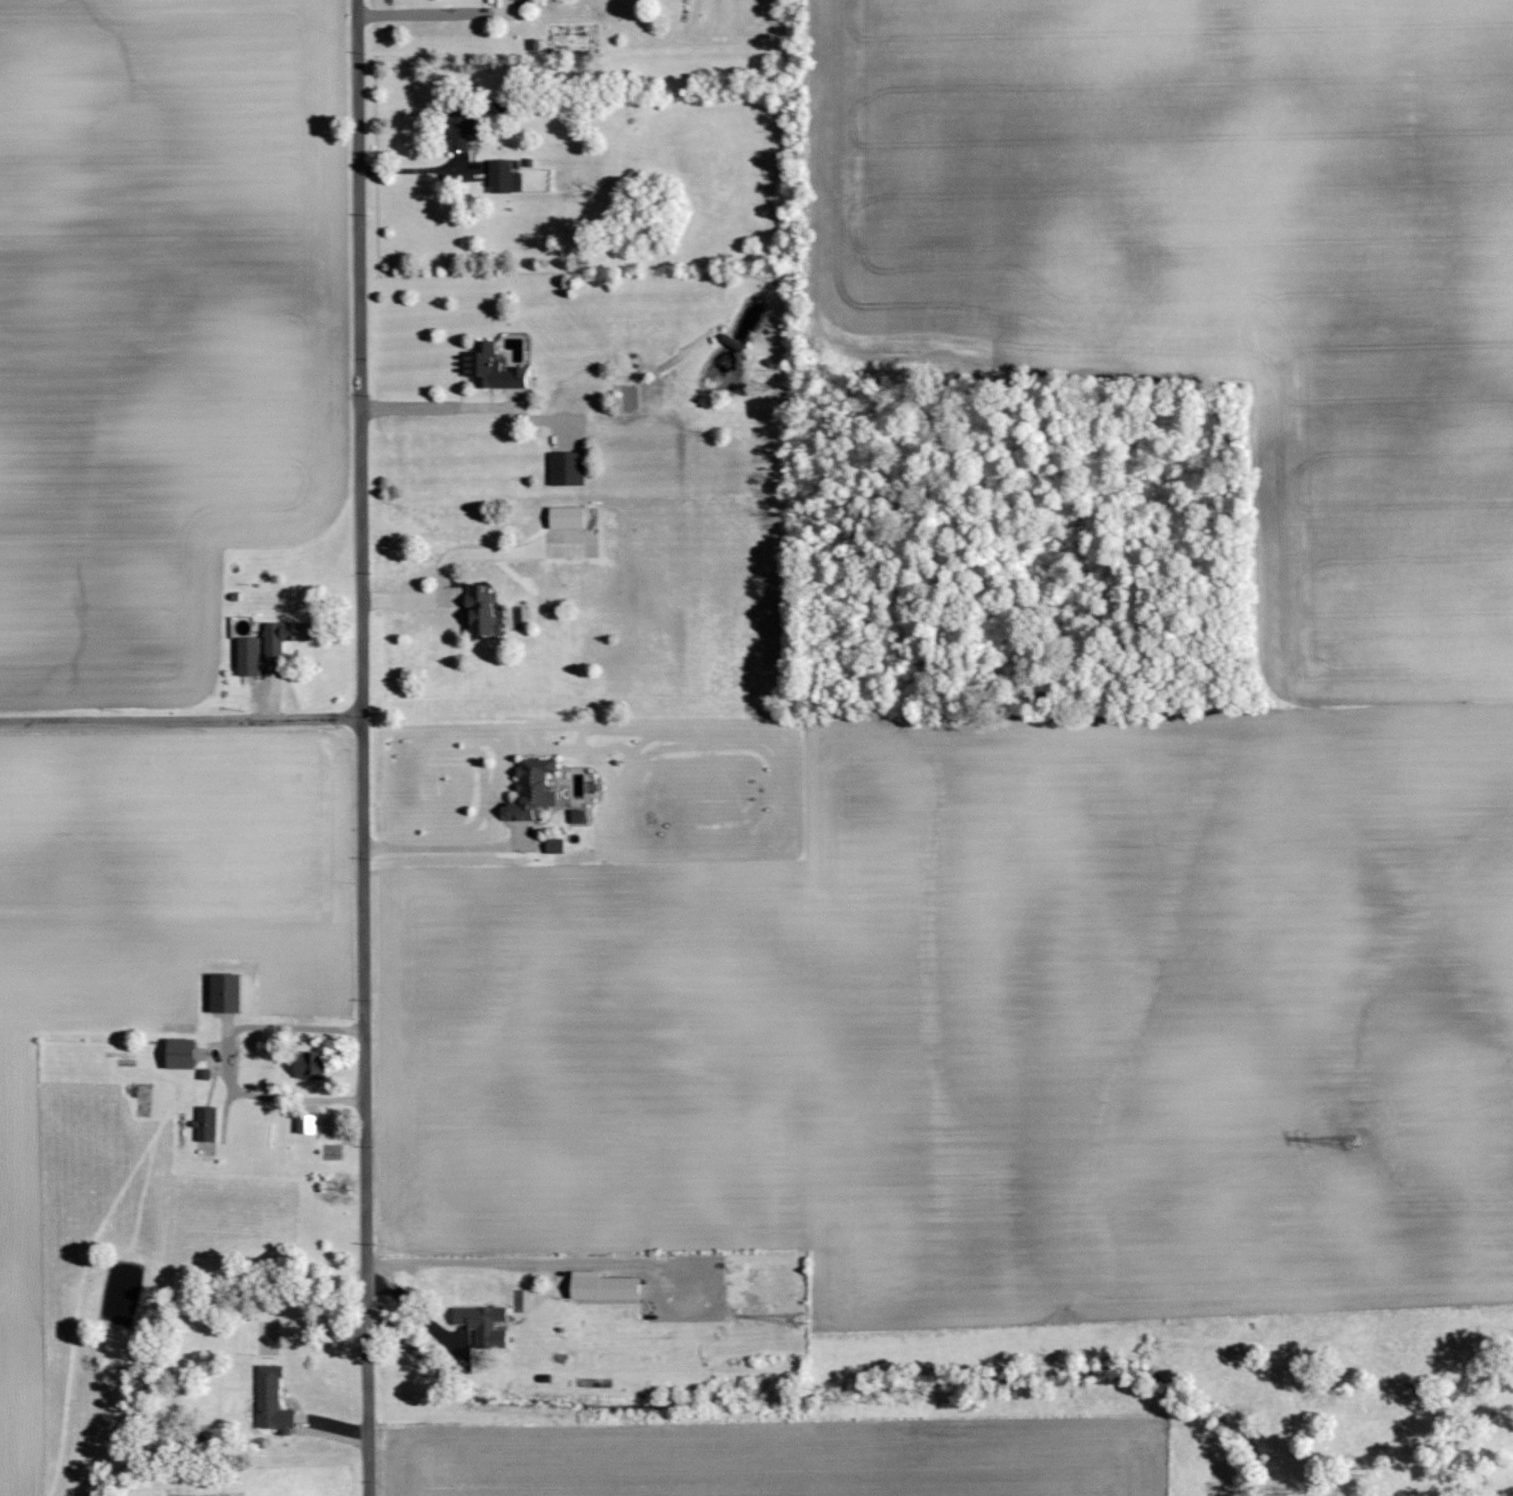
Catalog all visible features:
road: (438, 13)
building: (458, 125)
road: (419, 170)
building: (498, 174)
building: (733, 342)
building: (489, 366)
road: (444, 407)
building: (564, 466)
building: (565, 515)
road: (454, 554)
building: (479, 609)
building: (282, 638)
building: (249, 657)
road: (181, 720)
road: (363, 747)
building: (530, 787)
building: (578, 817)
building: (552, 844)
road: (454, 846)
building: (224, 991)
building: (179, 1051)
road: (219, 1061)
building: (310, 1066)
building: (206, 1124)
building: (307, 1125)
power tower: (1351, 1143)
road: (454, 1261)
building: (603, 1286)
power tower: (799, 1321)
building: (484, 1325)
building: (273, 1401)

